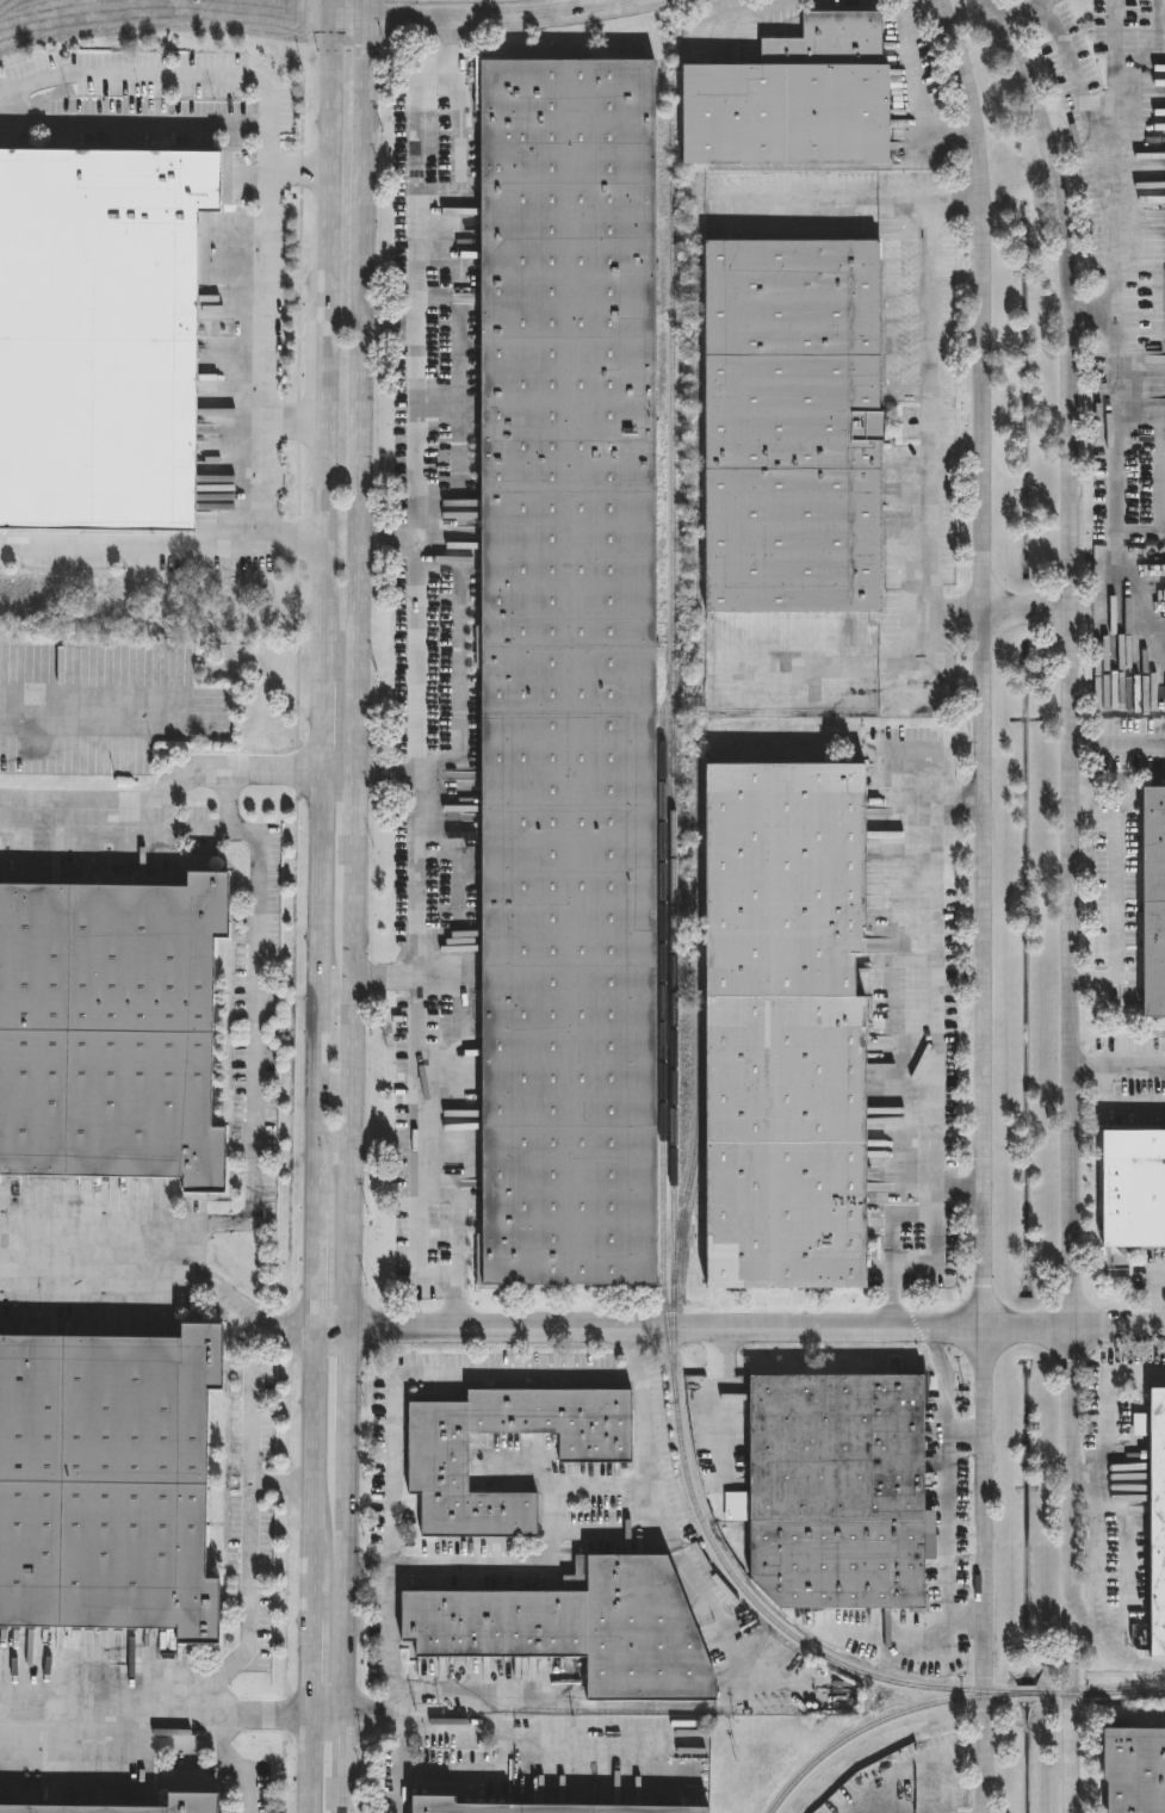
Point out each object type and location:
road: (333, 7)
road: (365, 8)
road: (1025, 13)
traffic signals: (333, 16)
road: (348, 16)
traffic signals: (365, 17)
road: (504, 18)
road: (757, 27)
road: (160, 78)
road: (917, 89)
building: (797, 99)
road: (1120, 109)
road: (185, 124)
road: (329, 146)
road: (850, 196)
road: (1091, 314)
road: (386, 328)
building: (101, 335)
road: (1113, 336)
road: (326, 348)
road: (267, 359)
road: (358, 392)
road: (929, 403)
road: (296, 420)
building: (795, 426)
railway: (698, 503)
road: (385, 539)
road: (161, 545)
road: (321, 549)
road: (1079, 606)
road: (1109, 606)
road: (460, 656)
road: (921, 661)
building: (571, 672)
road: (416, 679)
road: (317, 725)
road: (335, 771)
road: (385, 772)
road: (930, 775)
road: (159, 798)
road: (352, 816)
road: (1072, 898)
road: (1116, 901)
building: (1155, 901)
road: (985, 903)
railway: (673, 974)
road: (382, 977)
road: (314, 991)
railway: (698, 1008)
building: (789, 1027)
building: (113, 1033)
road: (256, 1048)
road: (1118, 1065)
road: (932, 1076)
road: (348, 1093)
road: (1113, 1103)
building: (1135, 1189)
road: (959, 1192)
road: (162, 1264)
road: (310, 1268)
road: (1154, 1295)
road: (755, 1320)
road: (328, 1325)
road: (345, 1376)
road: (454, 1376)
road: (1105, 1415)
road: (969, 1444)
road: (309, 1454)
building: (441, 1477)
building: (109, 1483)
road: (277, 1487)
building: (841, 1490)
building: (1159, 1522)
road: (953, 1527)
road: (1097, 1548)
road: (545, 1549)
road: (243, 1552)
road: (681, 1555)
road: (342, 1572)
road: (394, 1613)
building: (583, 1627)
road: (973, 1633)
road: (1115, 1645)
road: (308, 1650)
railway: (947, 1698)
road: (553, 1706)
road: (154, 1712)
road: (324, 1715)
road: (396, 1737)
road: (497, 1746)
road: (340, 1755)
road: (231, 1761)
road: (913, 1761)
road: (306, 1764)
building: (1136, 1769)
road: (947, 1782)
building: (196, 1800)
road: (339, 1803)
building: (539, 1807)

